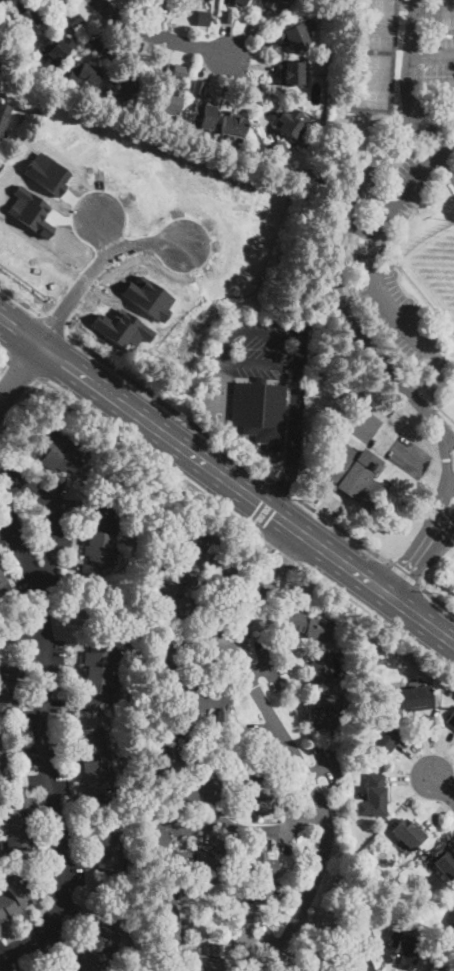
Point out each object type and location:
building: (165, 1)
building: (190, 1)
building: (204, 1)
building: (235, 2)
building: (56, 3)
building: (274, 3)
road: (434, 12)
parking lot: (439, 13)
building: (226, 17)
building: (73, 18)
building: (202, 18)
building: (25, 19)
park: (377, 24)
building: (294, 35)
road: (159, 36)
building: (56, 49)
building: (108, 50)
parking lot: (438, 54)
road: (431, 55)
road: (409, 59)
building: (179, 72)
building: (292, 73)
building: (87, 74)
park: (373, 80)
building: (126, 87)
building: (199, 87)
building: (172, 102)
building: (4, 115)
building: (203, 115)
building: (290, 122)
road: (444, 122)
building: (232, 124)
road: (425, 130)
road: (429, 135)
building: (279, 148)
road: (448, 149)
road: (448, 160)
road: (381, 173)
parking lot: (415, 177)
road: (411, 182)
park: (396, 223)
road: (352, 225)
road: (105, 226)
road: (360, 228)
road: (380, 235)
road: (96, 264)
road: (334, 264)
park: (435, 272)
road: (20, 298)
road: (421, 306)
parking lot: (393, 309)
road: (388, 315)
road: (360, 319)
road: (54, 324)
road: (19, 329)
road: (228, 330)
road: (4, 352)
road: (3, 361)
road: (23, 365)
road: (18, 371)
road: (439, 382)
road: (427, 394)
building: (349, 397)
road: (19, 401)
road: (171, 407)
road: (444, 411)
building: (260, 412)
road: (398, 414)
road: (384, 435)
road: (294, 439)
road: (451, 439)
building: (58, 453)
road: (150, 454)
building: (352, 475)
road: (449, 485)
road: (282, 487)
road: (442, 491)
road: (246, 493)
road: (325, 515)
road: (50, 520)
road: (338, 526)
road: (442, 533)
building: (99, 538)
building: (189, 544)
road: (280, 547)
building: (0, 560)
road: (433, 561)
road: (408, 569)
building: (223, 570)
road: (404, 574)
building: (4, 590)
building: (176, 594)
road: (437, 599)
building: (306, 608)
building: (209, 614)
road: (375, 617)
road: (23, 625)
building: (300, 626)
building: (169, 665)
building: (319, 668)
building: (98, 676)
building: (283, 679)
building: (448, 687)
building: (9, 690)
building: (205, 698)
building: (416, 699)
building: (322, 711)
building: (451, 721)
road: (43, 724)
building: (353, 731)
building: (386, 742)
building: (173, 745)
road: (291, 752)
building: (2, 761)
building: (353, 761)
building: (94, 763)
building: (256, 785)
road: (443, 787)
building: (200, 792)
building: (375, 795)
building: (111, 796)
road: (241, 826)
building: (19, 830)
building: (409, 833)
building: (159, 839)
building: (195, 844)
building: (106, 851)
building: (196, 860)
building: (444, 862)
building: (258, 875)
building: (213, 876)
building: (374, 878)
building: (14, 900)
building: (224, 907)
building: (171, 909)
building: (453, 922)
building: (347, 930)
building: (371, 944)
building: (97, 946)
building: (401, 951)
building: (201, 960)
building: (309, 961)
building: (363, 963)
building: (436, 969)

